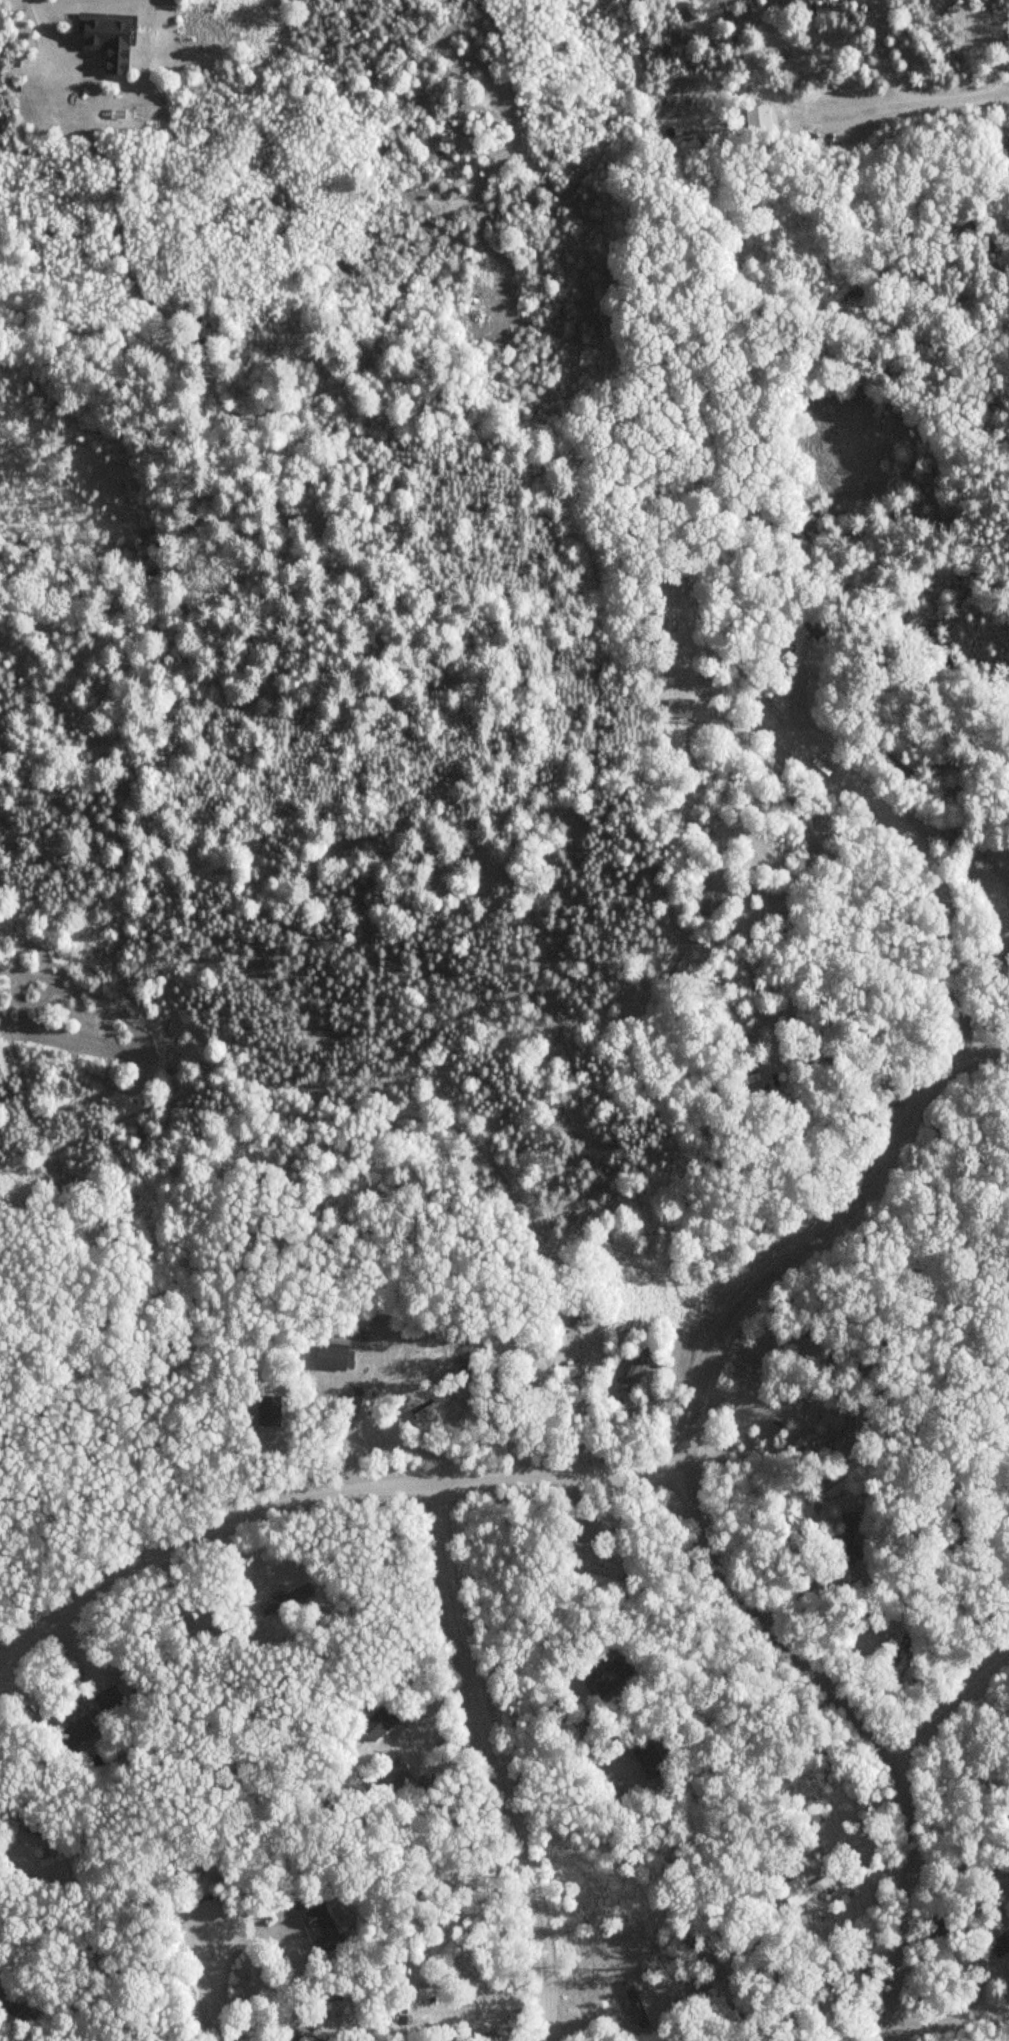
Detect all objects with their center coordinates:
building: (832, 10)
road: (925, 98)
building: (759, 118)
building: (810, 623)
road: (931, 866)
building: (707, 903)
building: (746, 915)
building: (751, 1076)
building: (801, 1106)
building: (332, 1356)
building: (571, 1366)
building: (635, 1368)
building: (365, 1405)
building: (816, 1436)
building: (836, 1482)
road: (314, 1493)
building: (961, 1509)
road: (699, 1513)
building: (849, 1540)
building: (607, 1582)
building: (287, 1597)
building: (863, 1621)
road: (5, 1658)
building: (610, 1674)
building: (109, 1698)
road: (952, 1709)
building: (380, 1722)
building: (77, 1731)
building: (645, 1753)
road: (495, 1761)
building: (395, 1777)
building: (51, 1858)
building: (1004, 1865)
building: (799, 1889)
building: (323, 1927)
building: (1001, 1947)
building: (798, 1989)
road: (212, 1995)
building: (13, 2002)
building: (636, 2003)
road: (949, 2017)
building: (307, 2035)

